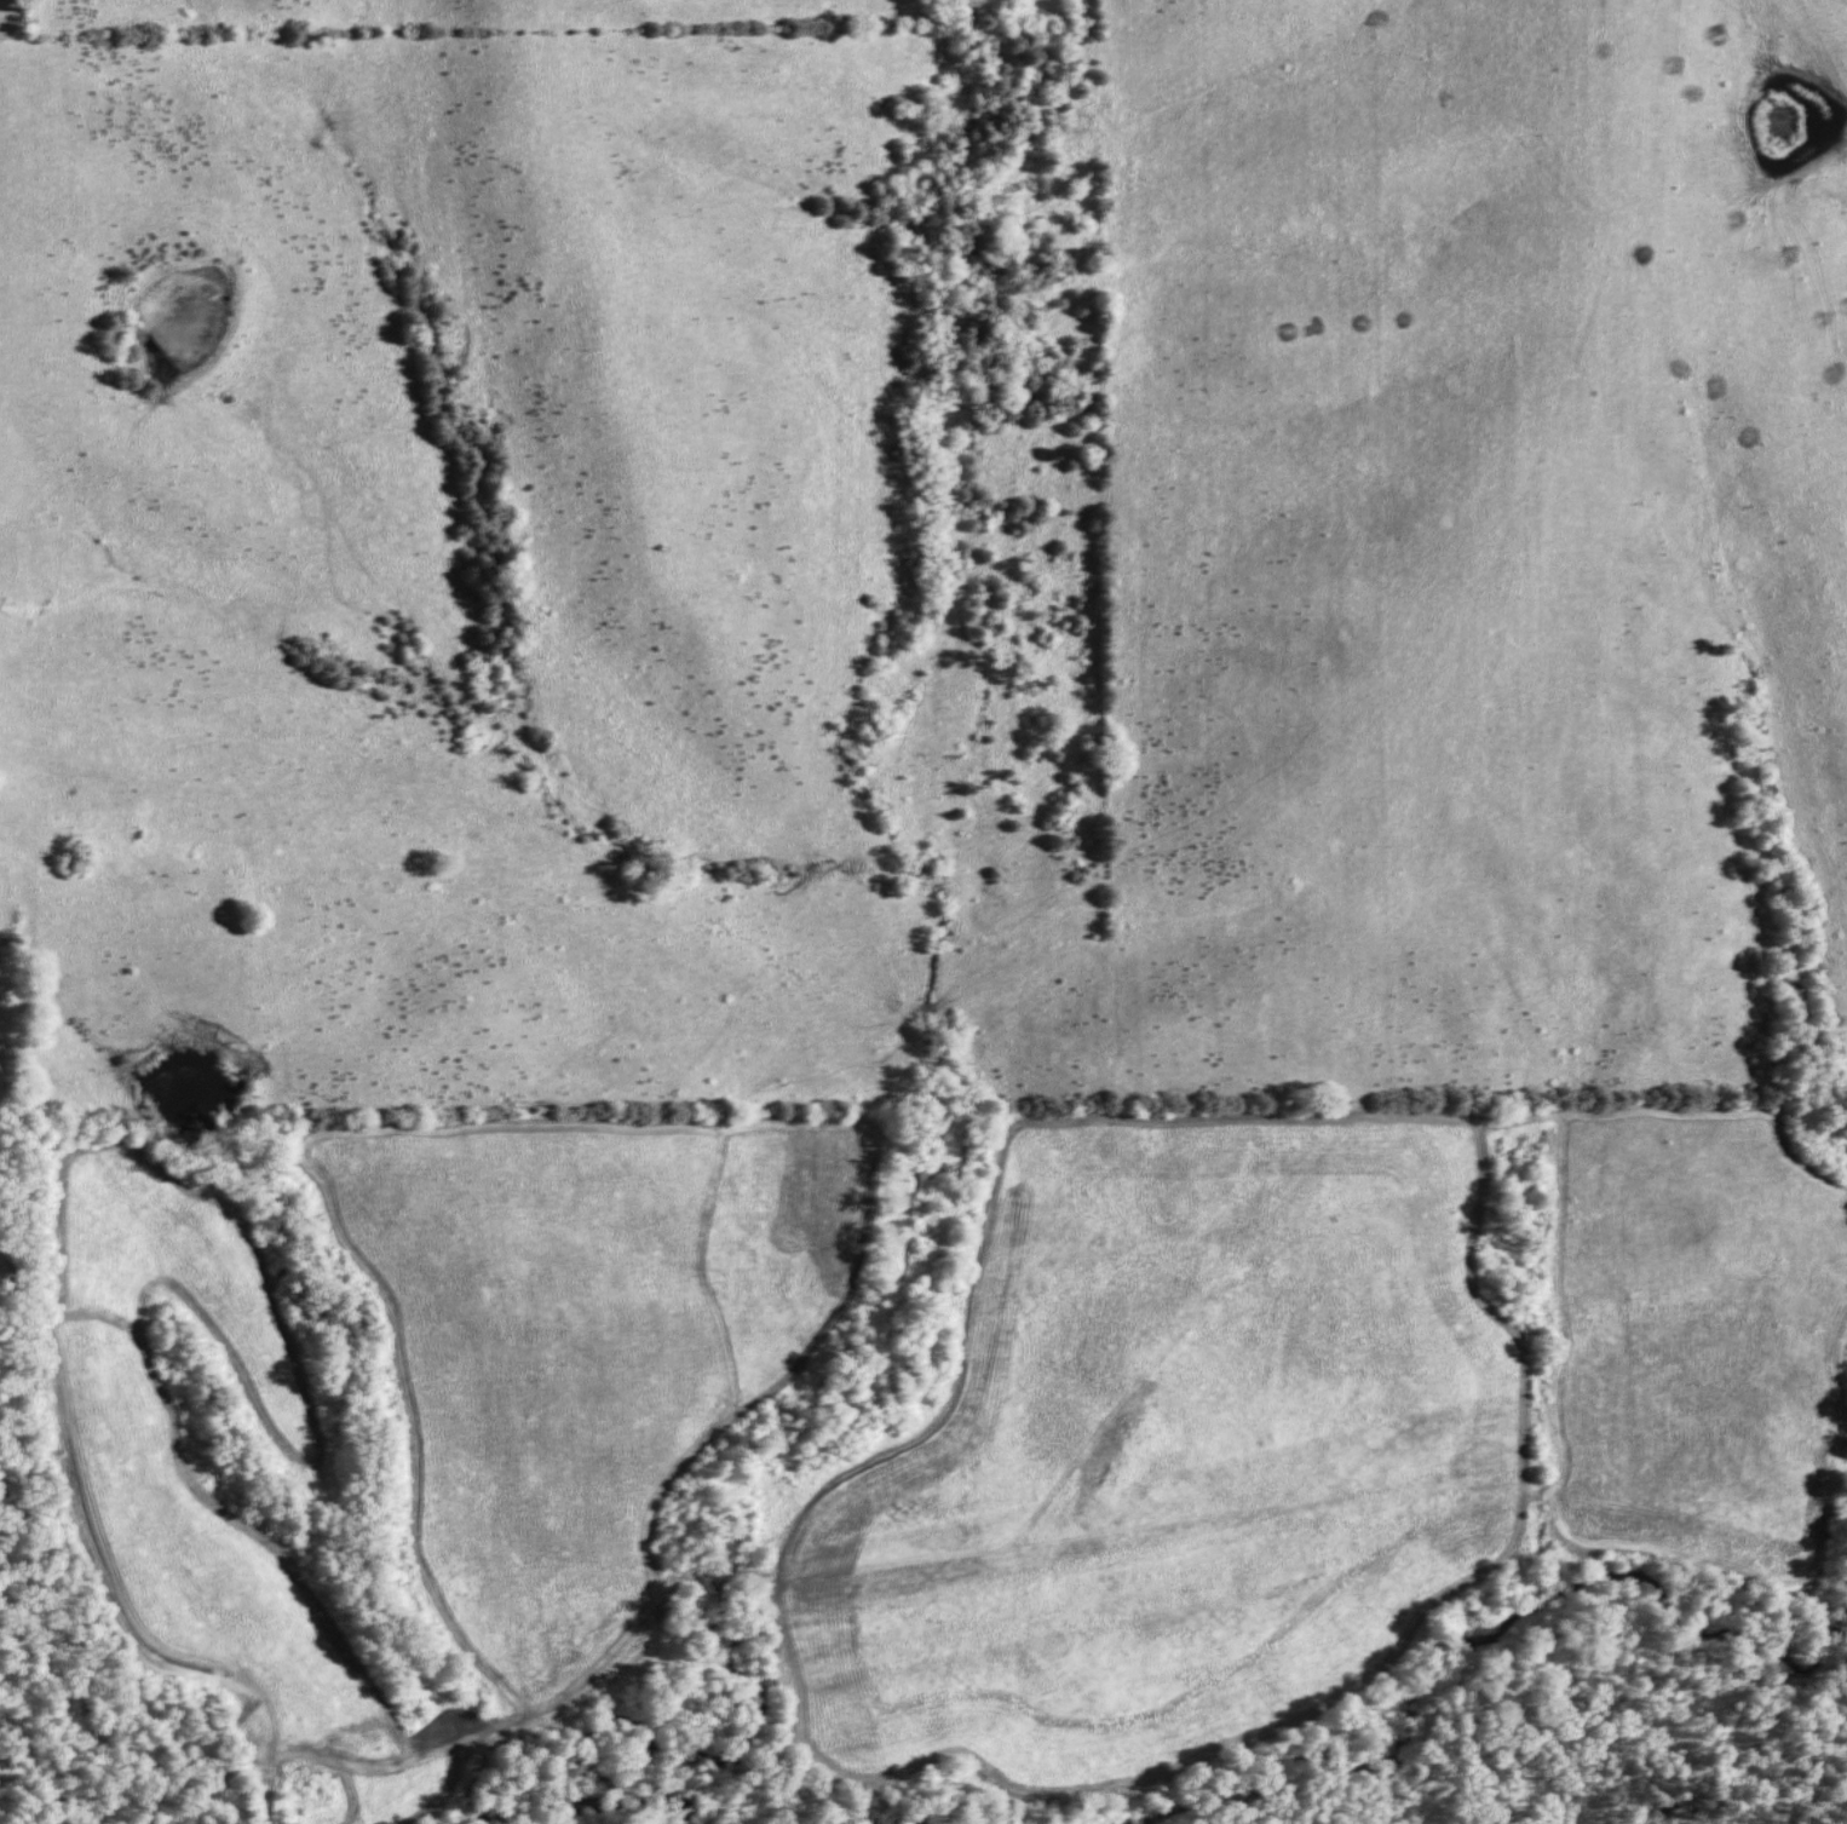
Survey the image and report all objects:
road: (154, 1546)

